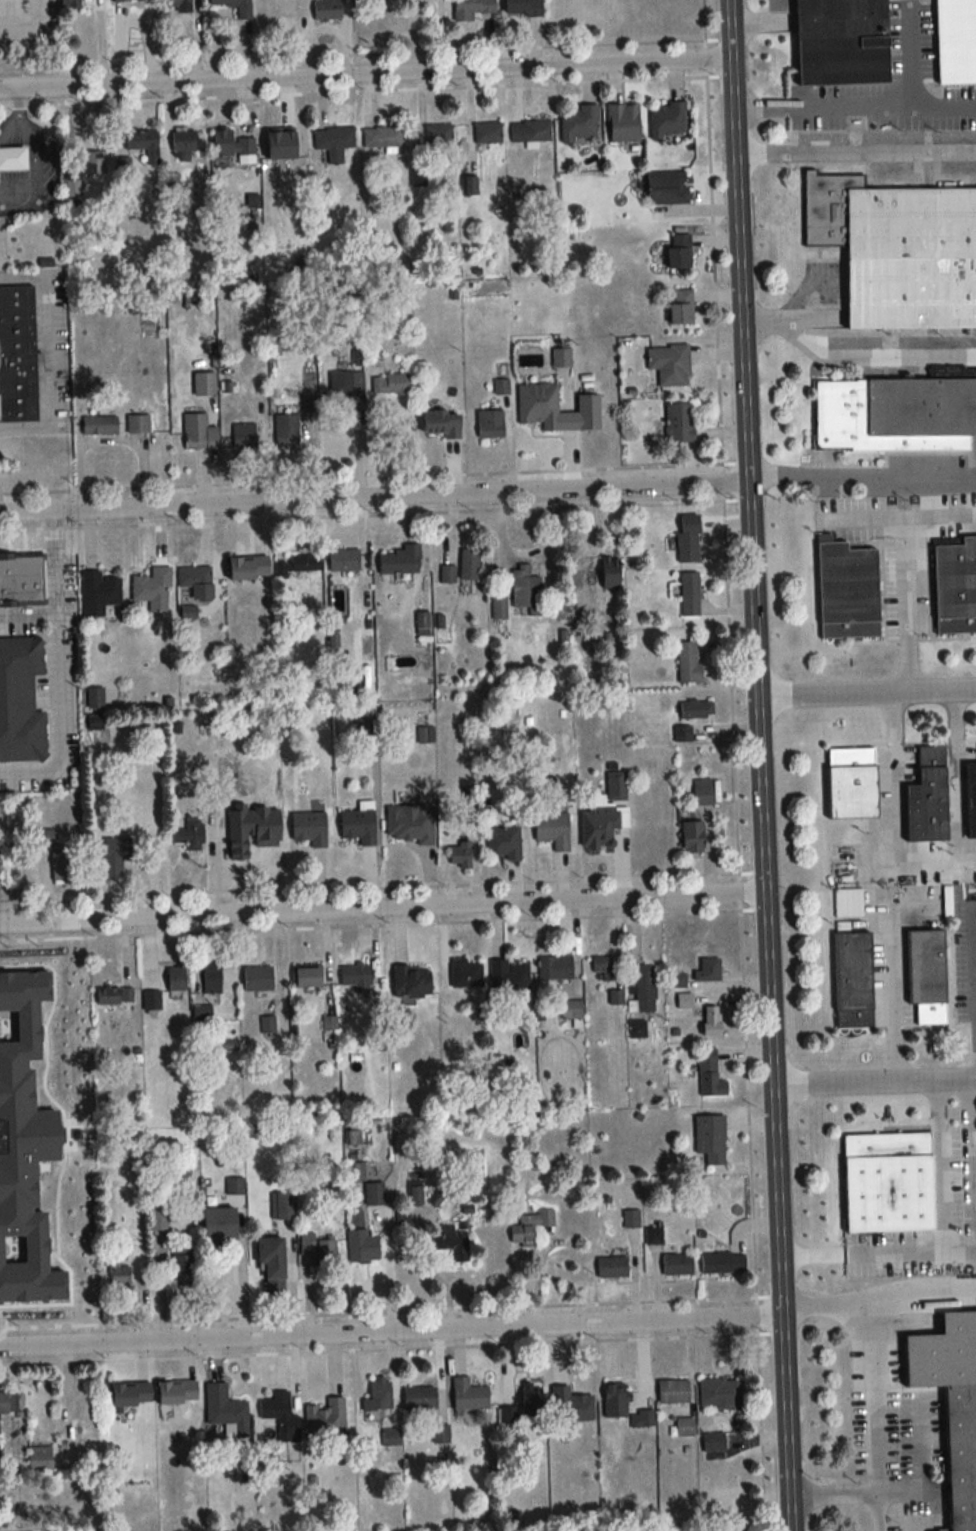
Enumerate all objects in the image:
building: (71, 4)
building: (177, 5)
building: (523, 7)
building: (326, 9)
building: (471, 9)
building: (243, 12)
building: (839, 19)
road: (763, 23)
road: (365, 75)
road: (943, 106)
road: (875, 107)
building: (667, 120)
building: (579, 122)
building: (623, 122)
building: (530, 130)
building: (488, 132)
building: (438, 135)
building: (382, 137)
building: (334, 142)
building: (182, 144)
building: (142, 146)
building: (232, 146)
road: (855, 150)
road: (37, 156)
building: (12, 159)
building: (92, 163)
building: (287, 181)
building: (469, 186)
building: (667, 187)
building: (898, 250)
building: (678, 251)
building: (680, 306)
building: (17, 354)
road: (45, 354)
road: (853, 354)
building: (561, 357)
building: (669, 364)
building: (203, 383)
building: (394, 389)
building: (347, 390)
building: (538, 405)
building: (894, 414)
building: (679, 423)
building: (137, 424)
building: (441, 424)
building: (490, 424)
building: (99, 425)
building: (286, 429)
building: (199, 433)
building: (243, 435)
road: (862, 473)
road: (373, 500)
road: (938, 515)
road: (860, 519)
building: (687, 547)
building: (344, 560)
building: (401, 562)
building: (298, 565)
building: (468, 565)
building: (610, 573)
building: (447, 575)
building: (193, 577)
building: (21, 581)
building: (955, 587)
building: (152, 590)
building: (847, 590)
building: (525, 591)
road: (55, 592)
building: (98, 594)
building: (689, 594)
road: (904, 605)
building: (499, 607)
building: (422, 622)
road: (754, 661)
building: (688, 663)
road: (865, 694)
building: (20, 698)
building: (696, 710)
road: (55, 719)
building: (360, 729)
building: (681, 734)
road: (736, 765)
road: (958, 778)
building: (851, 783)
building: (615, 786)
building: (702, 792)
building: (927, 798)
building: (971, 799)
building: (409, 824)
building: (358, 826)
building: (309, 828)
building: (598, 828)
building: (552, 830)
building: (191, 835)
building: (692, 837)
building: (40, 838)
building: (502, 843)
building: (115, 856)
building: (459, 856)
road: (923, 866)
building: (61, 867)
road: (872, 886)
road: (382, 910)
road: (973, 948)
building: (74, 968)
building: (555, 968)
building: (602, 969)
building: (707, 970)
building: (465, 974)
building: (926, 975)
building: (307, 977)
building: (508, 977)
building: (211, 978)
building: (356, 978)
building: (176, 979)
building: (257, 979)
building: (853, 979)
building: (677, 980)
building: (411, 982)
building: (643, 988)
building: (107, 995)
building: (151, 1000)
building: (684, 1000)
building: (571, 1010)
building: (200, 1013)
building: (711, 1021)
building: (636, 1029)
building: (709, 1073)
road: (874, 1083)
building: (533, 1120)
building: (710, 1137)
building: (888, 1182)
road: (963, 1182)
building: (234, 1186)
building: (373, 1194)
building: (282, 1205)
building: (158, 1212)
building: (631, 1218)
building: (218, 1224)
building: (529, 1226)
building: (653, 1234)
building: (452, 1242)
road: (934, 1243)
building: (307, 1244)
building: (362, 1247)
building: (721, 1262)
building: (271, 1264)
building: (677, 1264)
building: (183, 1265)
building: (612, 1266)
building: (118, 1273)
road: (921, 1286)
road: (823, 1304)
road: (391, 1335)
building: (379, 1391)
building: (673, 1391)
building: (719, 1392)
building: (469, 1395)
building: (419, 1399)
building: (531, 1400)
building: (616, 1402)
building: (8, 1404)
building: (223, 1406)
road: (874, 1414)
building: (279, 1417)
building: (642, 1419)
building: (326, 1420)
road: (786, 1426)
building: (684, 1427)
building: (440, 1433)
building: (390, 1437)
building: (713, 1442)
building: (539, 1452)
building: (961, 1454)
building: (39, 1458)
road: (833, 1492)

